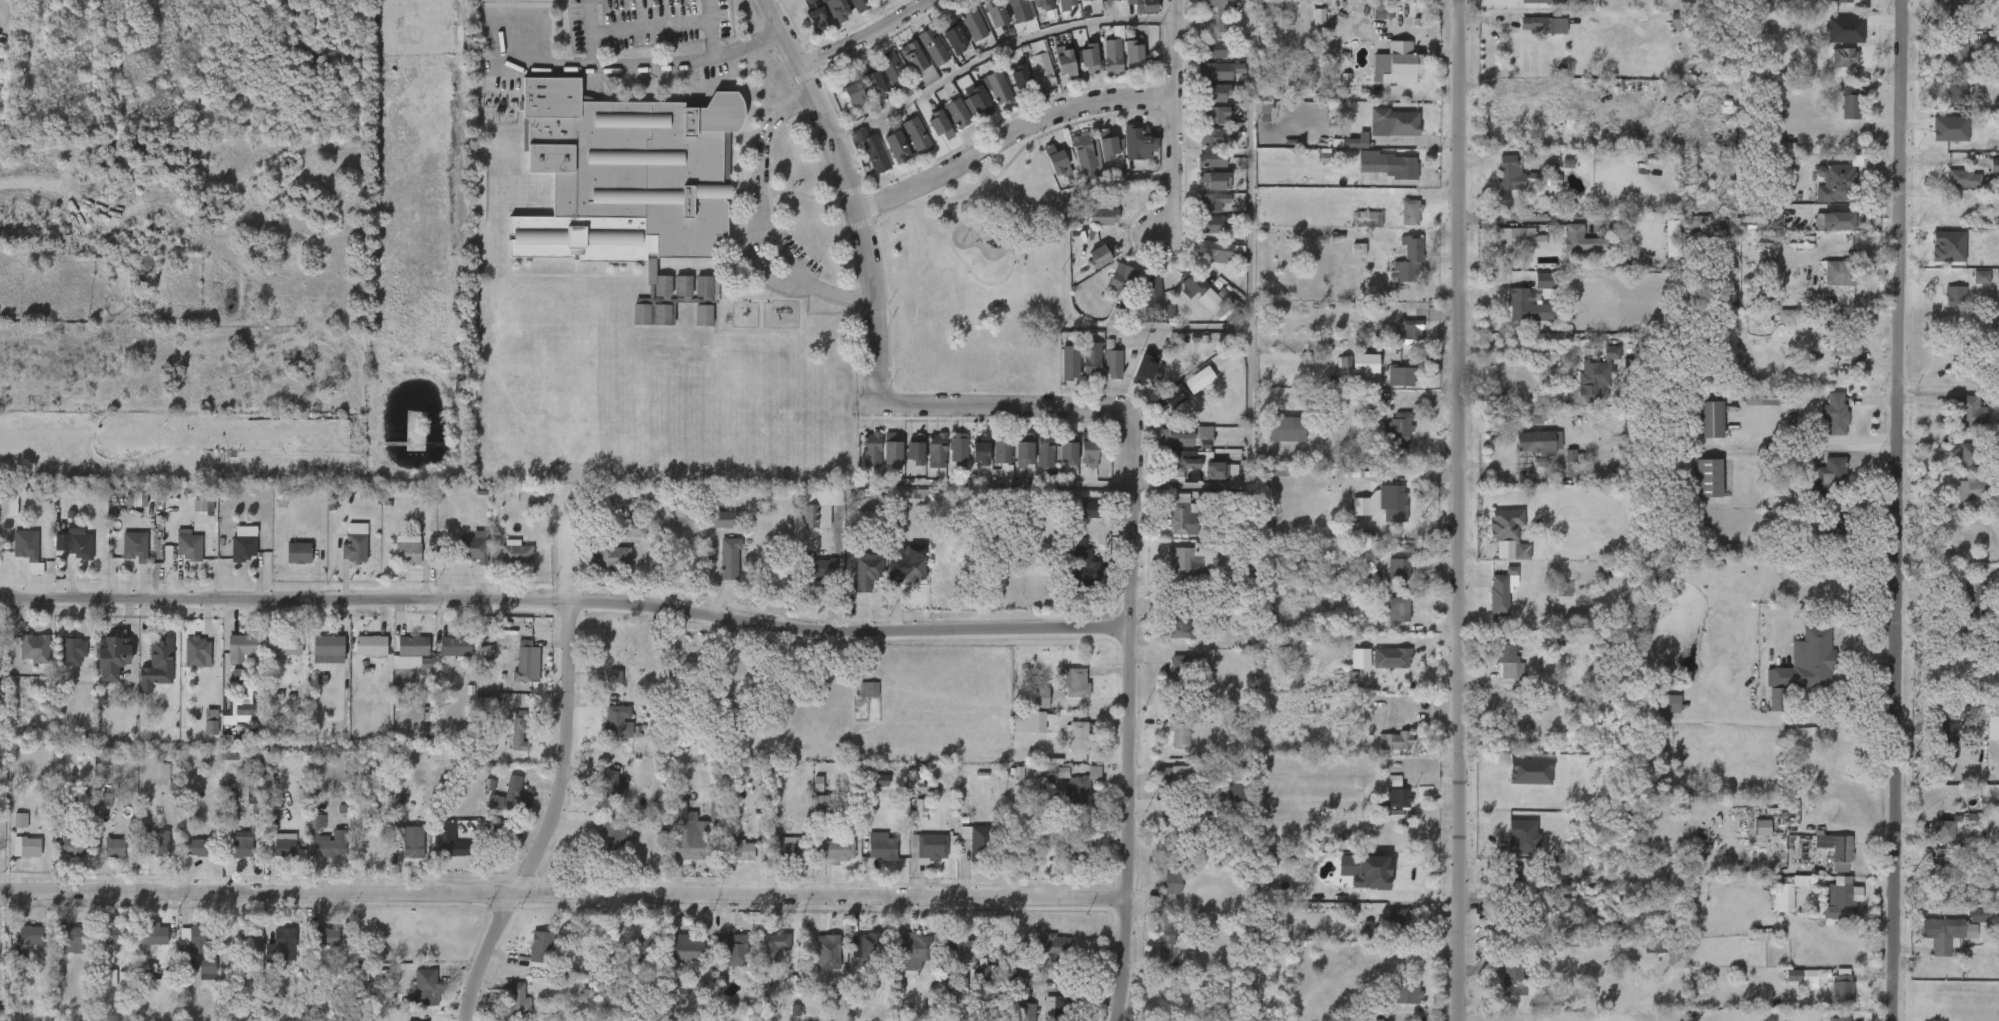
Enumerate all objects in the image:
building: (875, 0)
building: (878, 0)
building: (887, 0)
building: (1108, 0)
building: (1943, 0)
building: (1942, 2)
building: (1039, 3)
building: (1388, 3)
building: (1844, 3)
building: (1142, 4)
building: (858, 5)
building: (1063, 5)
building: (1075, 6)
building: (1214, 6)
building: (1499, 6)
building: (1830, 7)
building: (834, 9)
building: (845, 11)
building: (1052, 11)
road: (1236, 11)
building: (991, 12)
building: (1204, 12)
building: (1128, 13)
building: (811, 16)
building: (821, 16)
building: (1020, 16)
building: (802, 22)
building: (970, 23)
building: (982, 24)
building: (1008, 24)
building: (1542, 25)
road: (716, 28)
building: (1306, 29)
road: (875, 36)
building: (961, 37)
building: (1529, 37)
building: (952, 38)
road: (754, 39)
building: (1993, 43)
building: (930, 46)
building: (941, 48)
road: (1000, 48)
building: (1129, 48)
building: (1212, 48)
building: (1110, 55)
building: (1987, 56)
building: (1086, 57)
building: (1843, 57)
building: (1956, 57)
building: (909, 58)
building: (920, 59)
building: (1400, 61)
building: (1062, 62)
building: (1204, 62)
building: (1038, 63)
building: (1120, 66)
building: (1943, 67)
road: (553, 68)
building: (1100, 69)
building: (1217, 69)
road: (626, 70)
building: (1076, 70)
building: (1831, 70)
building: (890, 71)
building: (1016, 74)
building: (1052, 74)
building: (905, 76)
building: (1383, 76)
building: (1029, 79)
building: (861, 86)
building: (882, 87)
building: (996, 87)
building: (1007, 90)
building: (1213, 91)
building: (975, 99)
building: (1202, 105)
building: (1943, 105)
building: (1849, 106)
building: (841, 109)
building: (955, 112)
road: (1174, 113)
building: (1215, 114)
building: (1836, 115)
building: (1395, 121)
building: (936, 124)
building: (1252, 124)
building: (1203, 128)
building: (1381, 135)
building: (914, 136)
building: (1214, 136)
building: (927, 138)
road: (1016, 141)
building: (1135, 142)
building: (1106, 145)
building: (892, 148)
building: (903, 148)
building: (1203, 149)
building: (1084, 150)
building: (870, 151)
building: (1343, 154)
building: (1126, 155)
building: (1209, 158)
building: (884, 159)
building: (859, 162)
building: (1058, 162)
building: (1994, 163)
building: (1401, 167)
building: (1073, 169)
building: (1198, 172)
building: (1510, 173)
building: (1043, 174)
building: (1374, 177)
building: (1963, 178)
building: (1985, 178)
building: (1211, 179)
building: (1834, 183)
building: (1497, 186)
road: (858, 187)
building: (1530, 191)
building: (1201, 192)
building: (1949, 192)
building: (646, 194)
building: (1821, 195)
building: (1210, 200)
building: (1411, 212)
building: (1101, 214)
building: (1199, 214)
road: (1555, 216)
road: (761, 217)
building: (1370, 219)
building: (1840, 221)
building: (1211, 224)
building: (1397, 225)
building: (1090, 227)
building: (1355, 232)
building: (1824, 233)
building: (1685, 235)
building: (1572, 236)
building: (1199, 237)
building: (1670, 237)
building: (1509, 238)
building: (1216, 251)
building: (1502, 251)
building: (1659, 251)
building: (1567, 252)
building: (1096, 254)
building: (1410, 259)
building: (1345, 262)
building: (1201, 264)
building: (142, 265)
building: (1088, 268)
building: (1396, 272)
road: (1247, 273)
building: (1839, 273)
building: (137, 276)
building: (1122, 280)
building: (1543, 280)
building: (1189, 282)
building: (1826, 286)
building: (1109, 291)
road: (1062, 292)
building: (1531, 293)
building: (1177, 295)
building: (1153, 297)
building: (1139, 304)
building: (1521, 304)
building: (1951, 304)
building: (1941, 309)
building: (1197, 313)
building: (1510, 318)
building: (652, 325)
building: (628, 326)
building: (1772, 329)
building: (1409, 332)
building: (1395, 345)
building: (1844, 345)
road: (1526, 347)
building: (1092, 360)
building: (1113, 361)
building: (1832, 361)
building: (1070, 363)
building: (1147, 370)
building: (1391, 370)
building: (1079, 372)
building: (1057, 375)
building: (1351, 376)
building: (1594, 376)
building: (1100, 377)
building: (1132, 380)
building: (1388, 389)
building: (1171, 399)
road: (994, 409)
building: (1158, 409)
building: (1746, 411)
building: (1970, 412)
building: (1833, 413)
building: (1958, 424)
building: (1821, 426)
building: (1283, 429)
building: (1698, 432)
building: (1184, 436)
building: (1398, 436)
building: (1272, 442)
building: (1537, 442)
building: (1384, 446)
building: (956, 447)
building: (1169, 448)
building: (1064, 449)
building: (868, 450)
building: (911, 450)
building: (977, 450)
building: (1084, 450)
building: (888, 451)
building: (934, 451)
building: (1042, 452)
building: (1000, 454)
building: (1019, 455)
building: (1525, 455)
building: (1970, 455)
building: (945, 459)
building: (903, 461)
building: (1075, 461)
building: (1182, 461)
building: (858, 462)
building: (924, 462)
building: (1055, 462)
building: (968, 463)
building: (879, 464)
building: (1011, 466)
building: (1953, 467)
building: (990, 468)
building: (1032, 469)
building: (1221, 471)
building: (1829, 471)
building: (1170, 472)
building: (1558, 476)
building: (1203, 483)
building: (1813, 489)
building: (1695, 490)
building: (1972, 491)
building: (1394, 498)
building: (1957, 502)
building: (519, 507)
building: (1081, 509)
road: (1460, 510)
road: (1897, 510)
building: (1366, 513)
building: (1182, 514)
building: (721, 515)
building: (809, 516)
building: (2, 517)
building: (908, 517)
building: (1075, 522)
building: (633, 527)
building: (1170, 527)
building: (710, 532)
building: (1508, 534)
building: (1821, 541)
building: (621, 542)
building: (242, 543)
building: (79, 545)
building: (134, 545)
building: (189, 546)
building: (1495, 546)
building: (354, 547)
building: (475, 547)
building: (26, 549)
building: (297, 552)
building: (407, 552)
building: (515, 552)
building: (67, 554)
building: (232, 555)
building: (611, 555)
building: (343, 556)
building: (729, 556)
building: (176, 557)
building: (123, 558)
building: (463, 560)
building: (16, 562)
building: (395, 562)
building: (286, 565)
building: (504, 565)
building: (911, 565)
building: (1181, 567)
building: (816, 569)
building: (599, 570)
building: (717, 570)
building: (1400, 570)
building: (867, 571)
building: (1084, 571)
building: (1071, 574)
building: (900, 576)
building: (809, 582)
building: (855, 582)
building: (1385, 582)
building: (1499, 591)
building: (1488, 602)
road: (565, 605)
building: (1399, 608)
building: (1958, 610)
building: (1385, 622)
building: (1180, 625)
building: (1166, 639)
building: (372, 644)
building: (287, 645)
building: (455, 645)
building: (243, 647)
building: (35, 648)
building: (412, 648)
building: (329, 649)
building: (73, 651)
building: (197, 651)
building: (115, 656)
building: (1399, 657)
building: (164, 658)
building: (273, 658)
building: (358, 658)
building: (23, 660)
building: (229, 660)
building: (525, 660)
building: (1506, 660)
building: (316, 661)
building: (442, 661)
building: (61, 663)
building: (185, 664)
building: (401, 667)
building: (1800, 667)
building: (100, 669)
building: (1182, 669)
building: (149, 670)
building: (1347, 670)
building: (1378, 670)
building: (1495, 673)
building: (514, 674)
building: (1072, 682)
building: (1165, 683)
building: (602, 689)
building: (1061, 693)
building: (1036, 697)
building: (856, 701)
building: (1665, 706)
road: (1127, 710)
building: (227, 711)
building: (1026, 711)
building: (1763, 711)
building: (1654, 716)
building: (1029, 722)
building: (618, 723)
building: (520, 730)
building: (1180, 732)
building: (199, 734)
building: (414, 734)
building: (605, 734)
building: (1016, 734)
building: (1078, 736)
building: (1392, 738)
building: (506, 744)
building: (1934, 745)
building: (1984, 746)
building: (1167, 748)
building: (1065, 749)
building: (1382, 753)
building: (1045, 775)
road: (570, 779)
building: (1180, 781)
building: (612, 783)
building: (1516, 784)
building: (1039, 785)
building: (1160, 788)
building: (1074, 789)
building: (867, 792)
building: (510, 793)
building: (600, 795)
building: (476, 796)
building: (1505, 796)
building: (1393, 800)
building: (1062, 802)
building: (1222, 803)
building: (499, 804)
building: (237, 806)
building: (820, 806)
building: (482, 813)
building: (806, 817)
building: (905, 823)
building: (1760, 829)
building: (8, 832)
building: (69, 833)
building: (1942, 833)
building: (613, 835)
building: (691, 838)
building: (1749, 839)
building: (411, 841)
building: (978, 841)
building: (450, 842)
building: (1931, 844)
building: (25, 846)
building: (159, 847)
building: (201, 847)
building: (328, 847)
building: (603, 847)
building: (678, 847)
building: (115, 848)
building: (241, 848)
building: (285, 848)
building: (786, 848)
building: (928, 848)
building: (738, 849)
building: (838, 849)
building: (883, 849)
building: (1833, 852)
building: (400, 854)
building: (145, 855)
building: (437, 855)
building: (61, 856)
building: (967, 856)
building: (268, 857)
building: (14, 859)
building: (776, 859)
building: (868, 859)
building: (102, 860)
building: (187, 860)
building: (229, 860)
building: (918, 860)
building: (825, 861)
building: (729, 862)
building: (1822, 862)
building: (1936, 863)
building: (1924, 870)
building: (1512, 874)
building: (1173, 881)
building: (1358, 883)
building: (1502, 886)
road: (563, 892)
building: (1158, 894)
building: (1839, 898)
building: (1397, 921)
building: (1381, 928)
building: (1978, 928)
building: (29, 934)
building: (158, 934)
building: (112, 935)
building: (327, 936)
building: (1942, 936)
building: (66, 938)
building: (200, 939)
building: (1166, 941)
building: (774, 943)
building: (282, 944)
building: (100, 946)
building: (142, 946)
building: (18, 947)
building: (541, 947)
building: (1052, 947)
building: (1657, 947)
building: (863, 948)
building: (315, 949)
building: (644, 949)
building: (690, 949)
building: (735, 950)
building: (915, 950)
building: (960, 950)
building: (183, 951)
building: (827, 951)
building: (1153, 953)
building: (272, 956)
building: (760, 958)
building: (1642, 958)
building: (528, 959)
building: (675, 959)
building: (1042, 959)
building: (853, 960)
building: (629, 961)
building: (946, 961)
building: (723, 962)
building: (901, 962)
building: (815, 964)
building: (203, 967)
building: (1660, 970)
building: (108, 975)
building: (982, 975)
building: (1806, 976)
building: (1514, 978)
building: (195, 981)
building: (968, 984)
building: (425, 987)
building: (1839, 988)
building: (97, 989)
building: (1793, 989)
building: (1500, 991)
building: (1395, 998)
building: (413, 999)
building: (1829, 999)
building: (517, 1003)
building: (669, 1006)
building: (1396, 1006)
building: (506, 1008)
building: (1062, 1009)
building: (1047, 1014)
building: (1832, 1019)

